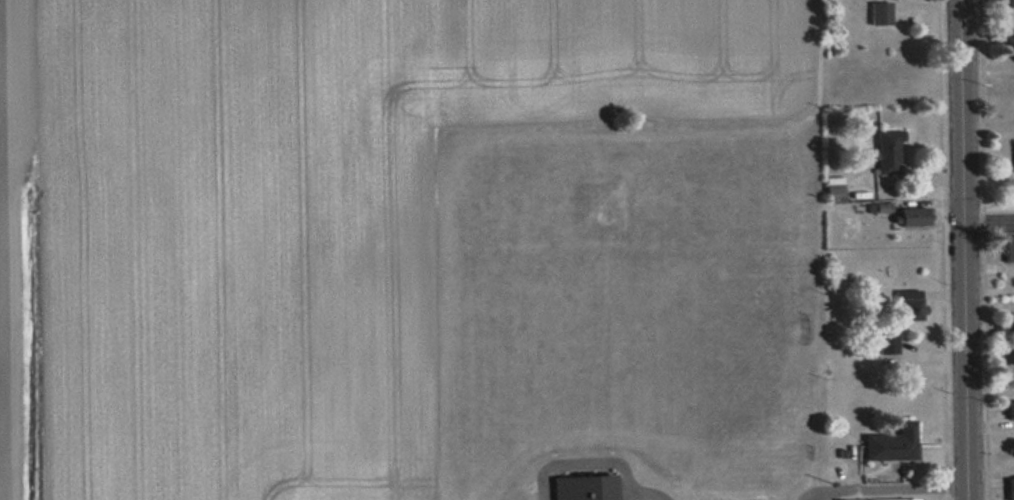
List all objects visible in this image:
building: (879, 13)
building: (887, 150)
building: (1013, 156)
building: (833, 190)
building: (909, 216)
road: (988, 221)
building: (1008, 248)
road: (963, 249)
building: (906, 304)
building: (1005, 321)
building: (887, 342)
building: (1005, 357)
building: (1011, 410)
building: (891, 443)
building: (583, 487)
building: (1010, 488)
building: (880, 499)

